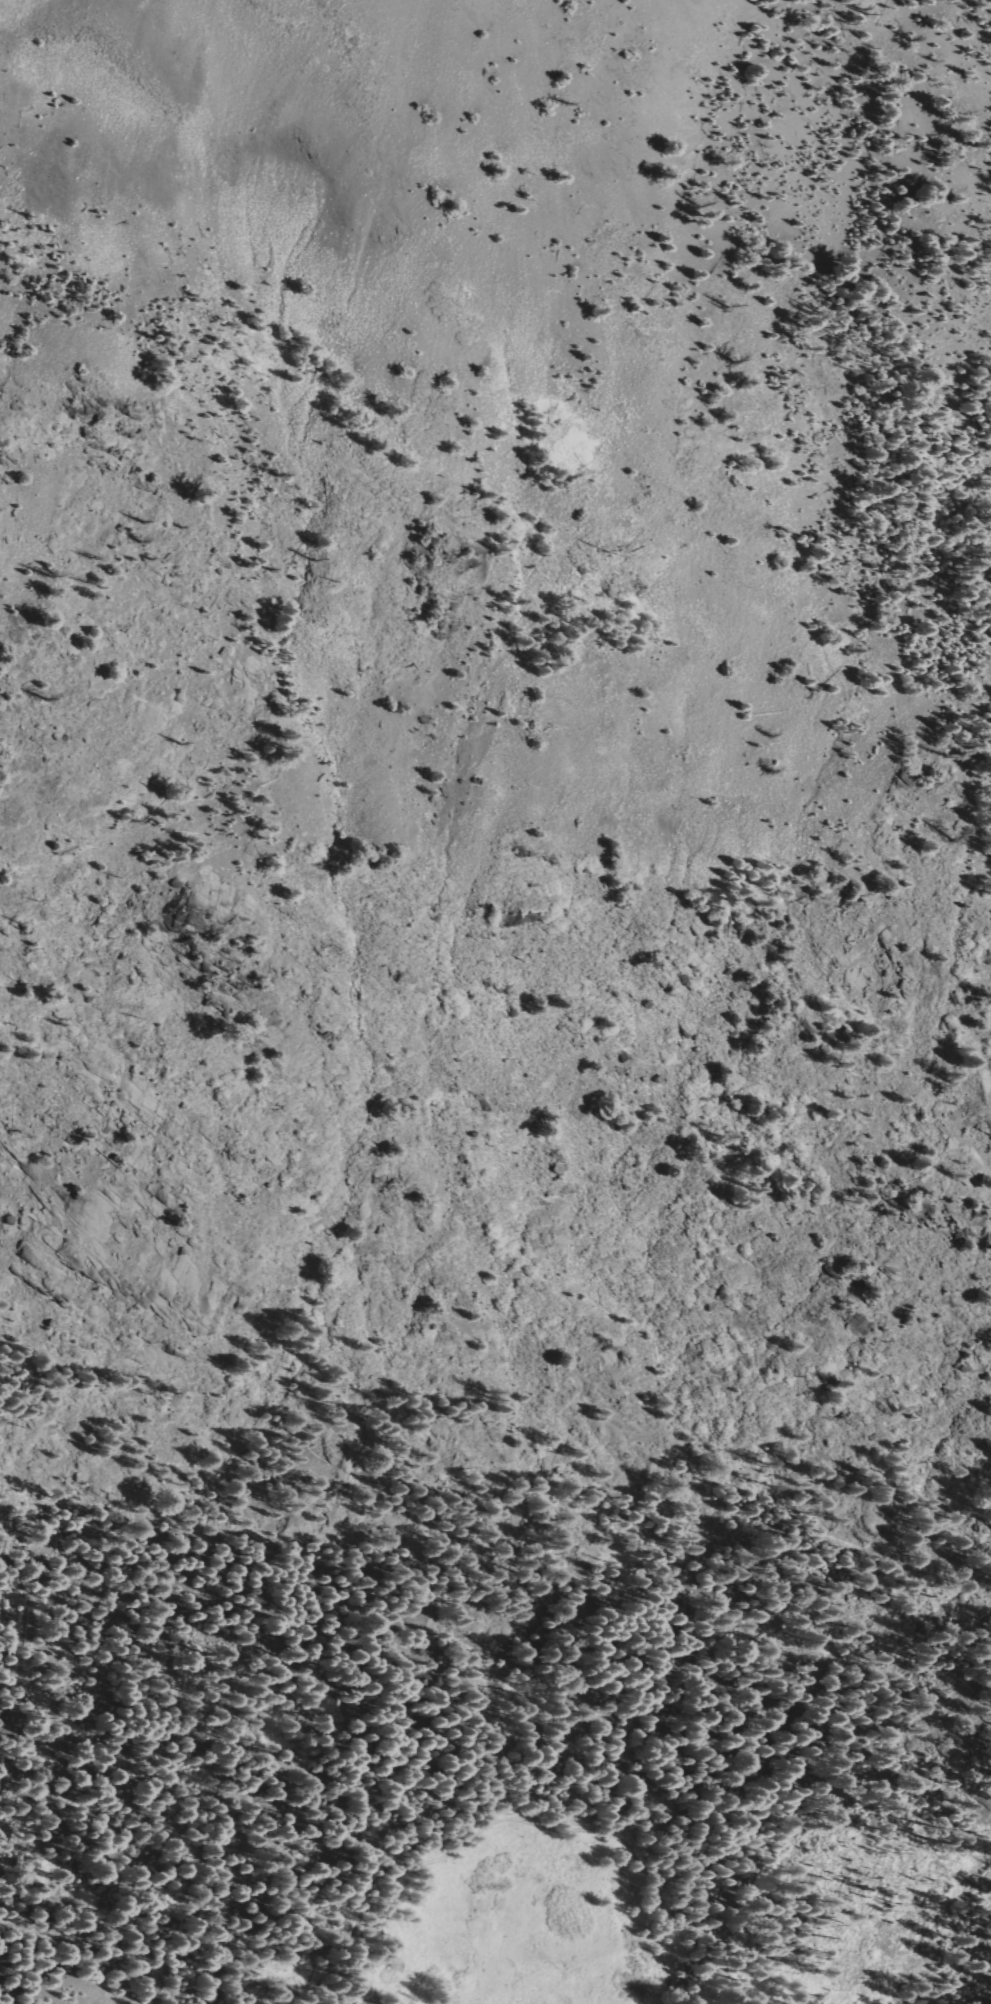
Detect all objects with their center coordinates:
road: (411, 1876)

